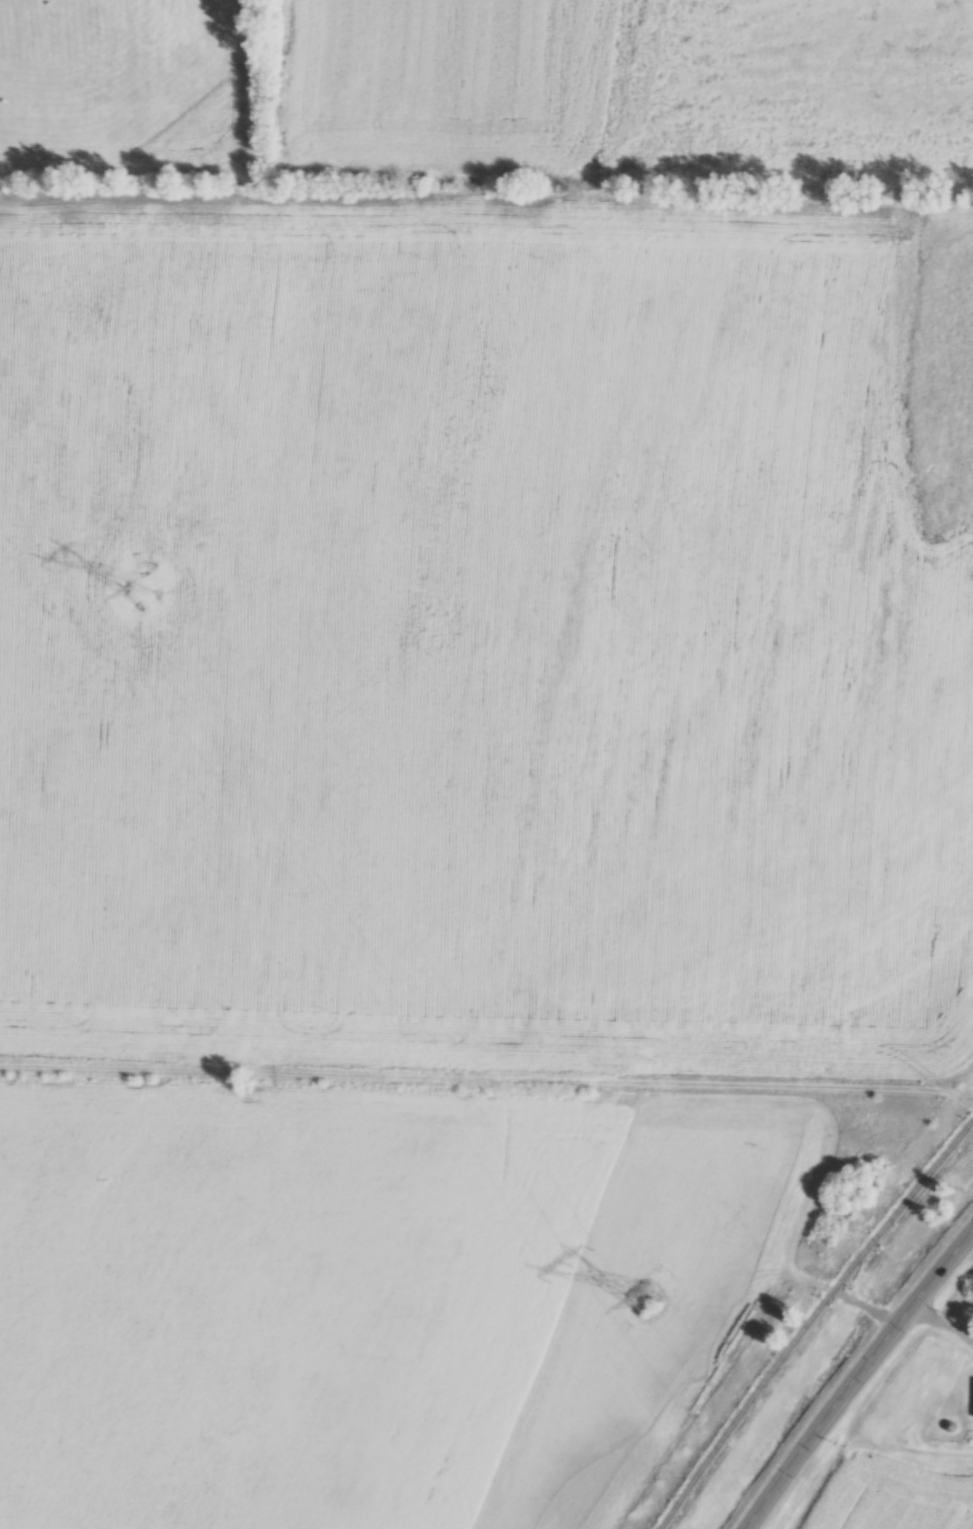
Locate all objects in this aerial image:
power tower: (150, 578)
road: (488, 1078)
road: (793, 1271)
power tower: (652, 1294)
railway: (807, 1315)
road: (852, 1372)

